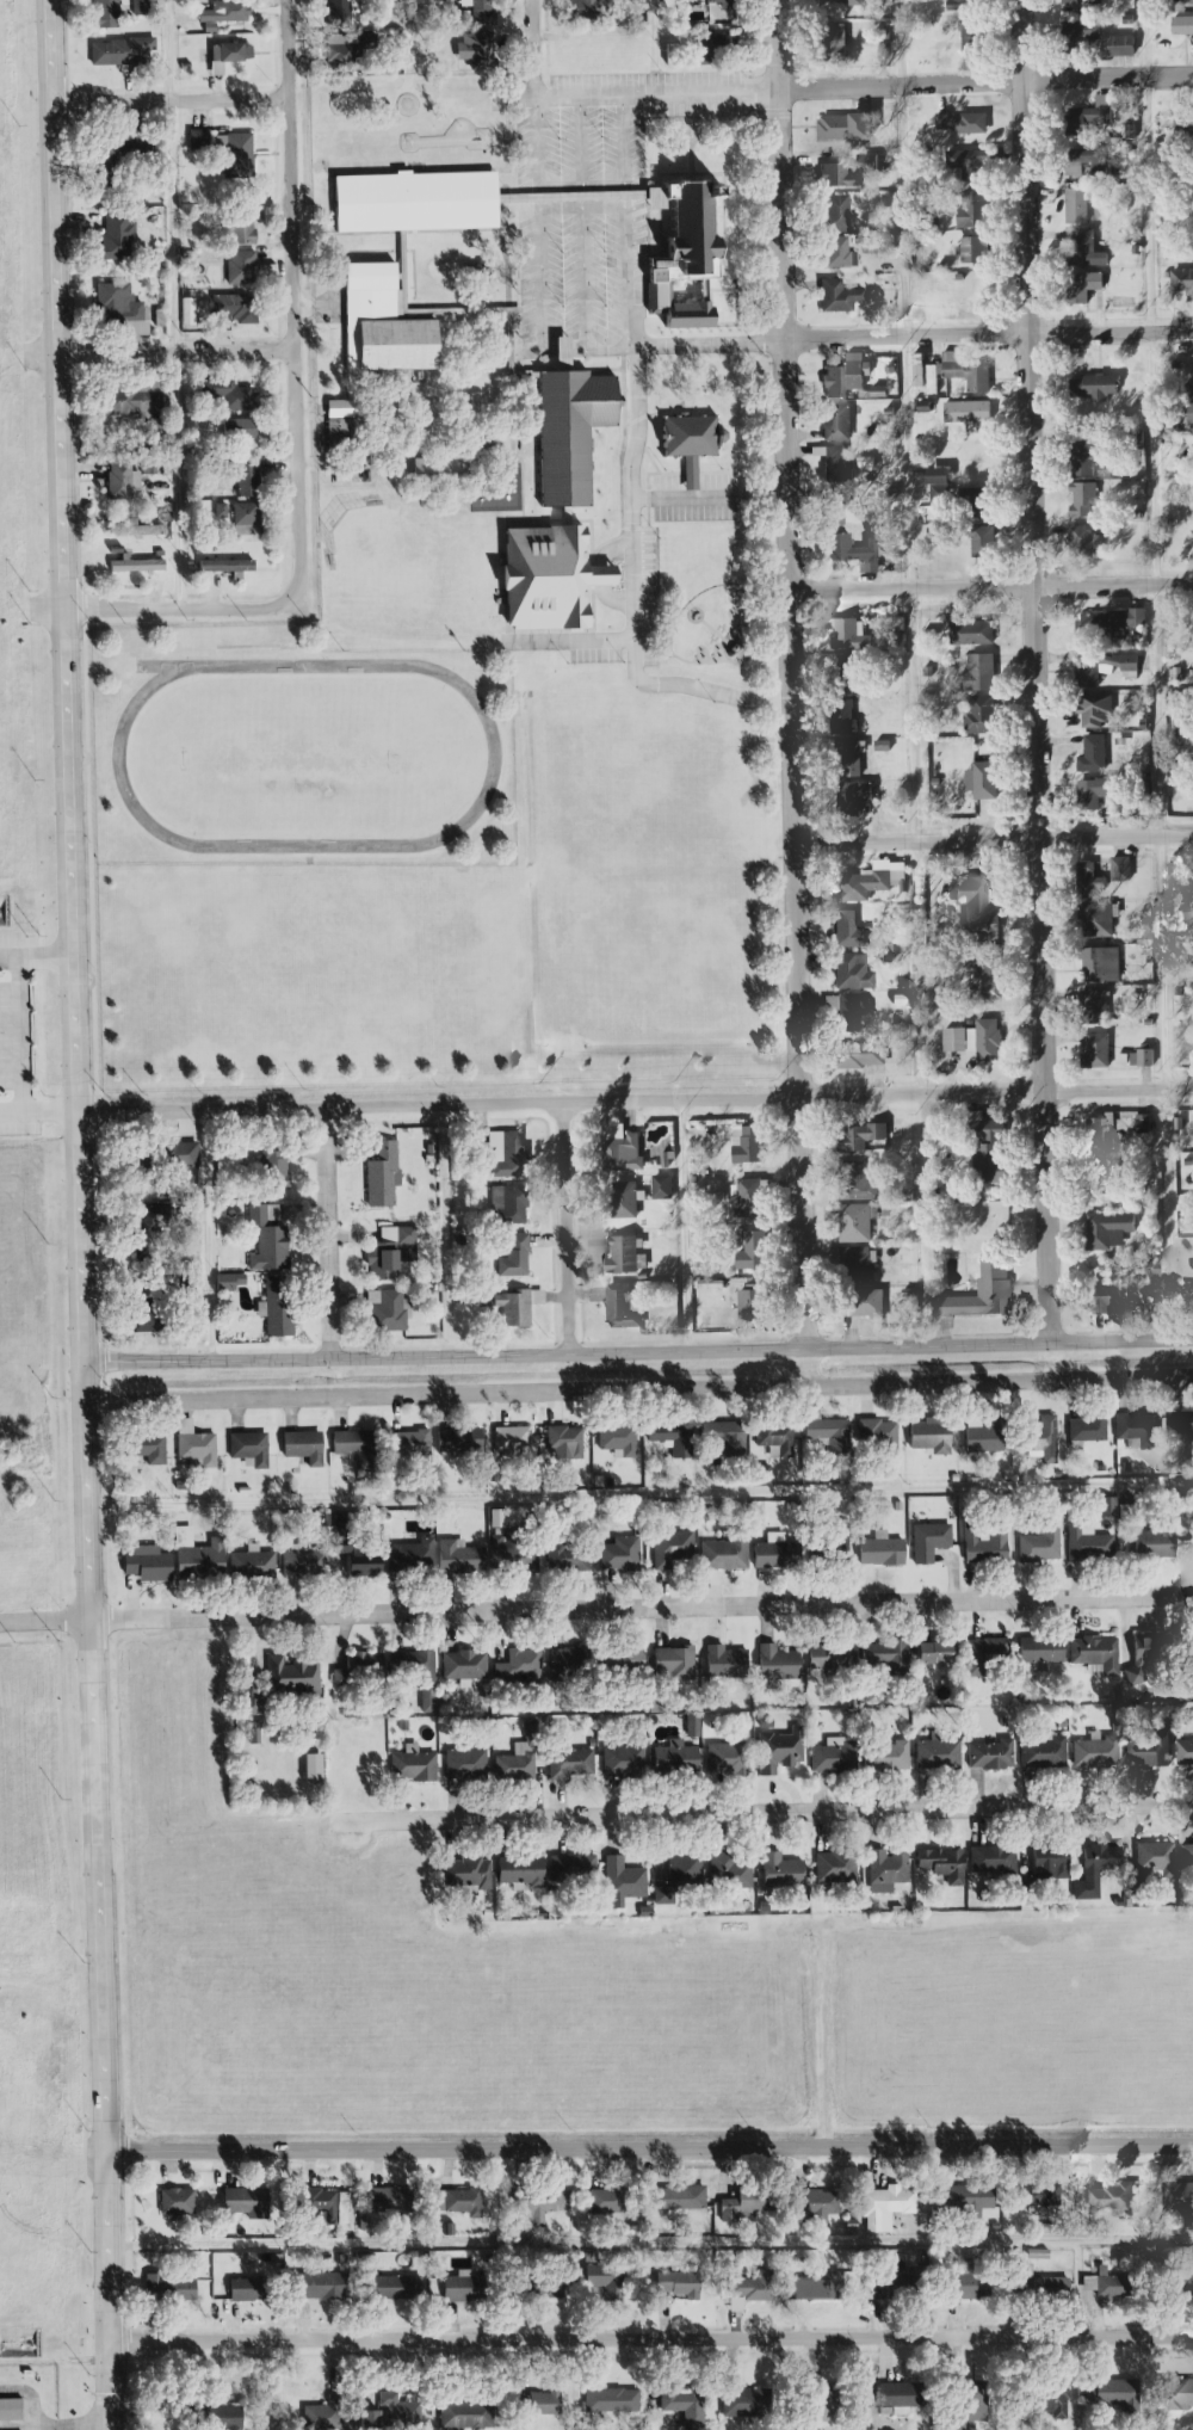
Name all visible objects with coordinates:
building: (628, 0)
building: (839, 2)
building: (1070, 2)
building: (1095, 2)
building: (1191, 2)
building: (723, 4)
building: (965, 5)
building: (141, 7)
building: (583, 8)
building: (225, 12)
building: (482, 12)
building: (107, 13)
building: (338, 14)
building: (1182, 27)
road: (655, 29)
road: (410, 33)
road: (532, 35)
building: (972, 36)
building: (1078, 36)
building: (835, 41)
building: (715, 45)
building: (1121, 45)
building: (347, 49)
building: (123, 50)
building: (480, 50)
building: (673, 54)
building: (227, 55)
road: (533, 85)
road: (987, 90)
road: (637, 97)
road: (171, 101)
building: (1089, 117)
building: (962, 123)
building: (847, 128)
building: (1183, 128)
building: (200, 141)
road: (581, 143)
building: (962, 160)
building: (1078, 162)
building: (833, 174)
road: (582, 187)
building: (409, 201)
road: (583, 205)
building: (1074, 205)
building: (970, 210)
building: (833, 212)
road: (626, 222)
building: (239, 228)
building: (118, 236)
building: (1083, 248)
building: (975, 249)
building: (836, 253)
building: (237, 266)
road: (540, 267)
road: (583, 278)
building: (1180, 280)
building: (1083, 286)
building: (836, 296)
road: (292, 301)
road: (177, 304)
building: (120, 308)
building: (186, 310)
building: (228, 310)
building: (376, 322)
road: (987, 338)
road: (177, 353)
building: (1192, 371)
building: (965, 374)
building: (842, 376)
building: (922, 376)
building: (1092, 387)
building: (230, 395)
building: (125, 399)
building: (965, 412)
building: (1188, 413)
building: (335, 419)
building: (836, 424)
building: (564, 427)
building: (239, 428)
building: (686, 442)
building: (1080, 458)
building: (833, 463)
building: (433, 465)
building: (933, 475)
building: (243, 476)
building: (122, 482)
building: (934, 489)
road: (709, 497)
building: (1081, 499)
building: (217, 511)
building: (240, 513)
road: (631, 517)
building: (138, 529)
building: (241, 530)
building: (981, 537)
building: (1083, 538)
building: (849, 550)
building: (131, 565)
building: (225, 566)
road: (601, 575)
building: (542, 578)
road: (990, 587)
road: (180, 610)
building: (1108, 621)
building: (969, 630)
building: (845, 634)
road: (568, 641)
building: (1088, 670)
road: (1158, 671)
road: (1036, 672)
road: (914, 673)
building: (981, 673)
road: (789, 693)
building: (1098, 708)
building: (977, 715)
building: (840, 716)
building: (878, 746)
building: (1090, 754)
track: (494, 757)
building: (847, 758)
building: (985, 782)
building: (1088, 794)
building: (848, 797)
road: (994, 841)
building: (1119, 869)
building: (1083, 877)
building: (866, 884)
building: (971, 905)
building: (1176, 912)
building: (1092, 918)
building: (849, 931)
road: (36, 956)
building: (1096, 960)
building: (853, 972)
building: (983, 980)
building: (848, 1011)
building: (1093, 1011)
road: (18, 1036)
building: (956, 1041)
building: (989, 1041)
building: (1093, 1050)
building: (858, 1055)
building: (1139, 1059)
road: (636, 1102)
road: (38, 1115)
building: (1141, 1124)
building: (1095, 1133)
building: (858, 1136)
building: (750, 1148)
building: (984, 1151)
building: (175, 1154)
building: (502, 1154)
building: (624, 1155)
building: (268, 1166)
building: (378, 1176)
building: (858, 1180)
building: (660, 1188)
building: (747, 1198)
building: (623, 1199)
building: (503, 1204)
road: (80, 1214)
building: (143, 1215)
building: (855, 1222)
road: (686, 1226)
road: (565, 1228)
building: (1106, 1229)
road: (444, 1231)
road: (328, 1233)
road: (205, 1235)
building: (264, 1236)
building: (749, 1252)
building: (511, 1256)
building: (622, 1256)
building: (382, 1262)
building: (855, 1265)
building: (1144, 1266)
building: (224, 1282)
building: (977, 1295)
building: (1100, 1300)
building: (861, 1303)
building: (273, 1306)
building: (513, 1306)
building: (746, 1306)
building: (618, 1307)
building: (385, 1313)
building: (136, 1326)
road: (638, 1351)
road: (638, 1390)
building: (1180, 1423)
building: (1086, 1427)
building: (1133, 1429)
building: (823, 1430)
building: (663, 1432)
building: (721, 1435)
building: (874, 1435)
building: (772, 1437)
building: (925, 1437)
building: (978, 1438)
building: (1038, 1438)
building: (614, 1439)
building: (453, 1442)
building: (512, 1442)
building: (561, 1442)
building: (191, 1444)
building: (406, 1444)
building: (353, 1445)
building: (299, 1447)
building: (246, 1448)
building: (146, 1449)
road: (639, 1497)
building: (1104, 1506)
building: (493, 1518)
building: (1154, 1540)
building: (925, 1542)
building: (1084, 1542)
building: (1037, 1544)
building: (982, 1547)
building: (668, 1548)
building: (834, 1548)
building: (876, 1550)
building: (618, 1553)
building: (768, 1553)
building: (722, 1554)
building: (191, 1555)
building: (455, 1558)
building: (407, 1559)
building: (518, 1559)
building: (564, 1559)
building: (142, 1564)
building: (247, 1564)
building: (299, 1565)
building: (357, 1565)
road: (641, 1608)
road: (44, 1623)
building: (1037, 1651)
building: (927, 1653)
building: (982, 1653)
building: (1093, 1653)
building: (824, 1654)
building: (879, 1654)
building: (619, 1658)
building: (1137, 1660)
building: (672, 1661)
building: (563, 1663)
building: (724, 1663)
building: (772, 1663)
building: (460, 1665)
building: (518, 1666)
building: (357, 1667)
building: (420, 1670)
building: (288, 1676)
building: (690, 1726)
building: (251, 1737)
building: (778, 1750)
building: (1145, 1750)
building: (1041, 1751)
building: (937, 1752)
building: (1095, 1753)
building: (1185, 1753)
building: (990, 1754)
building: (829, 1756)
building: (885, 1756)
building: (670, 1757)
building: (723, 1759)
building: (619, 1760)
building: (512, 1763)
building: (462, 1764)
building: (568, 1764)
building: (409, 1766)
building: (307, 1769)
road: (768, 1817)
building: (1185, 1856)
building: (989, 1858)
building: (939, 1864)
building: (1046, 1865)
building: (1149, 1865)
building: (834, 1867)
building: (885, 1867)
building: (568, 1868)
building: (1094, 1870)
building: (517, 1871)
building: (780, 1871)
building: (468, 1873)
building: (725, 1873)
building: (676, 1875)
building: (619, 1882)
road: (648, 2150)
building: (1044, 2195)
building: (973, 2196)
building: (682, 2197)
building: (1113, 2197)
building: (462, 2200)
building: (607, 2200)
building: (178, 2201)
building: (392, 2201)
building: (1179, 2201)
building: (245, 2202)
building: (823, 2202)
building: (533, 2204)
building: (330, 2206)
building: (884, 2206)
road: (649, 2241)
building: (605, 2278)
building: (1182, 2281)
building: (681, 2283)
building: (901, 2283)
building: (973, 2283)
building: (1109, 2284)
building: (324, 2286)
building: (169, 2287)
building: (397, 2287)
building: (463, 2287)
building: (820, 2287)
building: (1050, 2287)
building: (249, 2289)
building: (552, 2289)
building: (753, 2289)
road: (650, 2339)
building: (1176, 2393)
building: (903, 2394)
building: (1114, 2395)
building: (613, 2400)
building: (837, 2400)
building: (976, 2400)
building: (546, 2403)
building: (747, 2403)
building: (1058, 2404)
building: (684, 2406)
building: (400, 2409)
building: (11, 2410)
building: (326, 2416)
building: (465, 2416)
building: (231, 2417)
building: (373, 2420)
road: (67, 2426)

